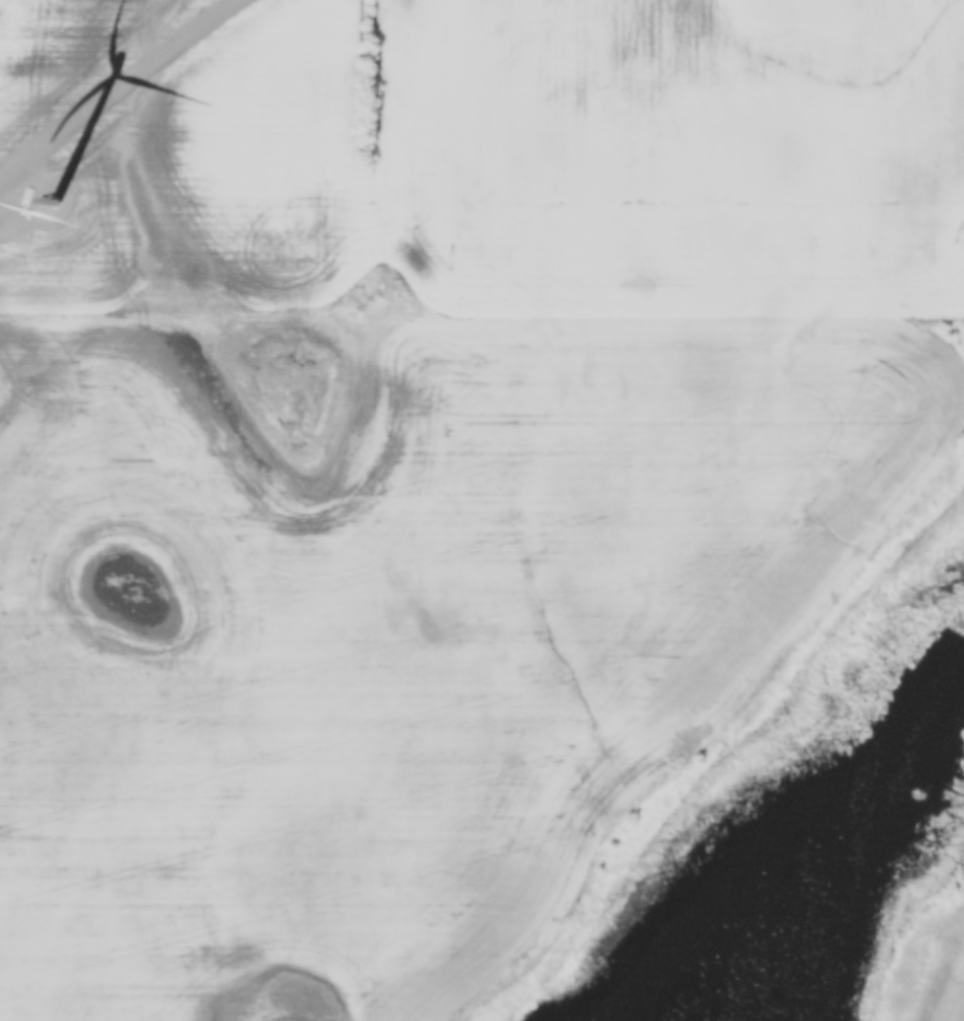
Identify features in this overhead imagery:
wind turbine: (50, 205)

